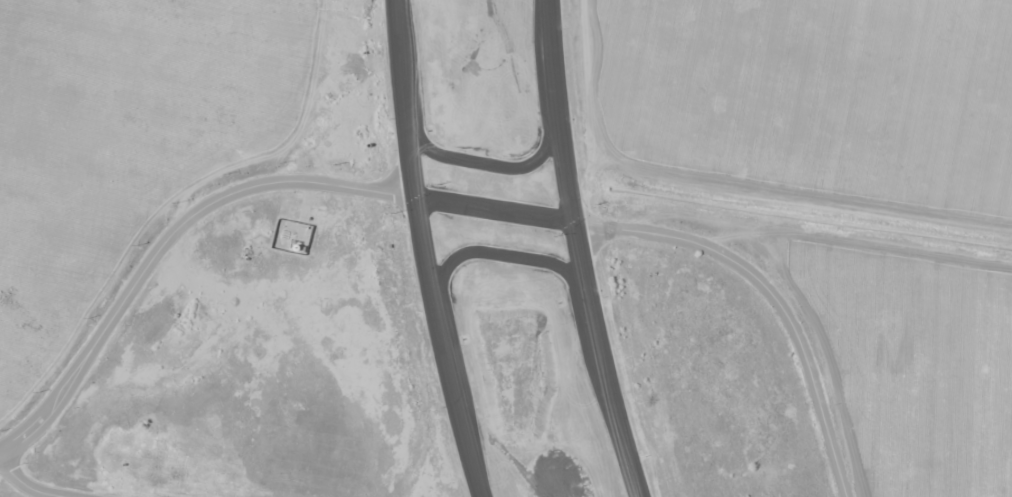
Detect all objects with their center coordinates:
road: (403, 98)
road: (485, 162)
road: (227, 194)
road: (579, 251)
road: (499, 254)
road: (772, 294)
road: (444, 347)
road: (25, 484)

